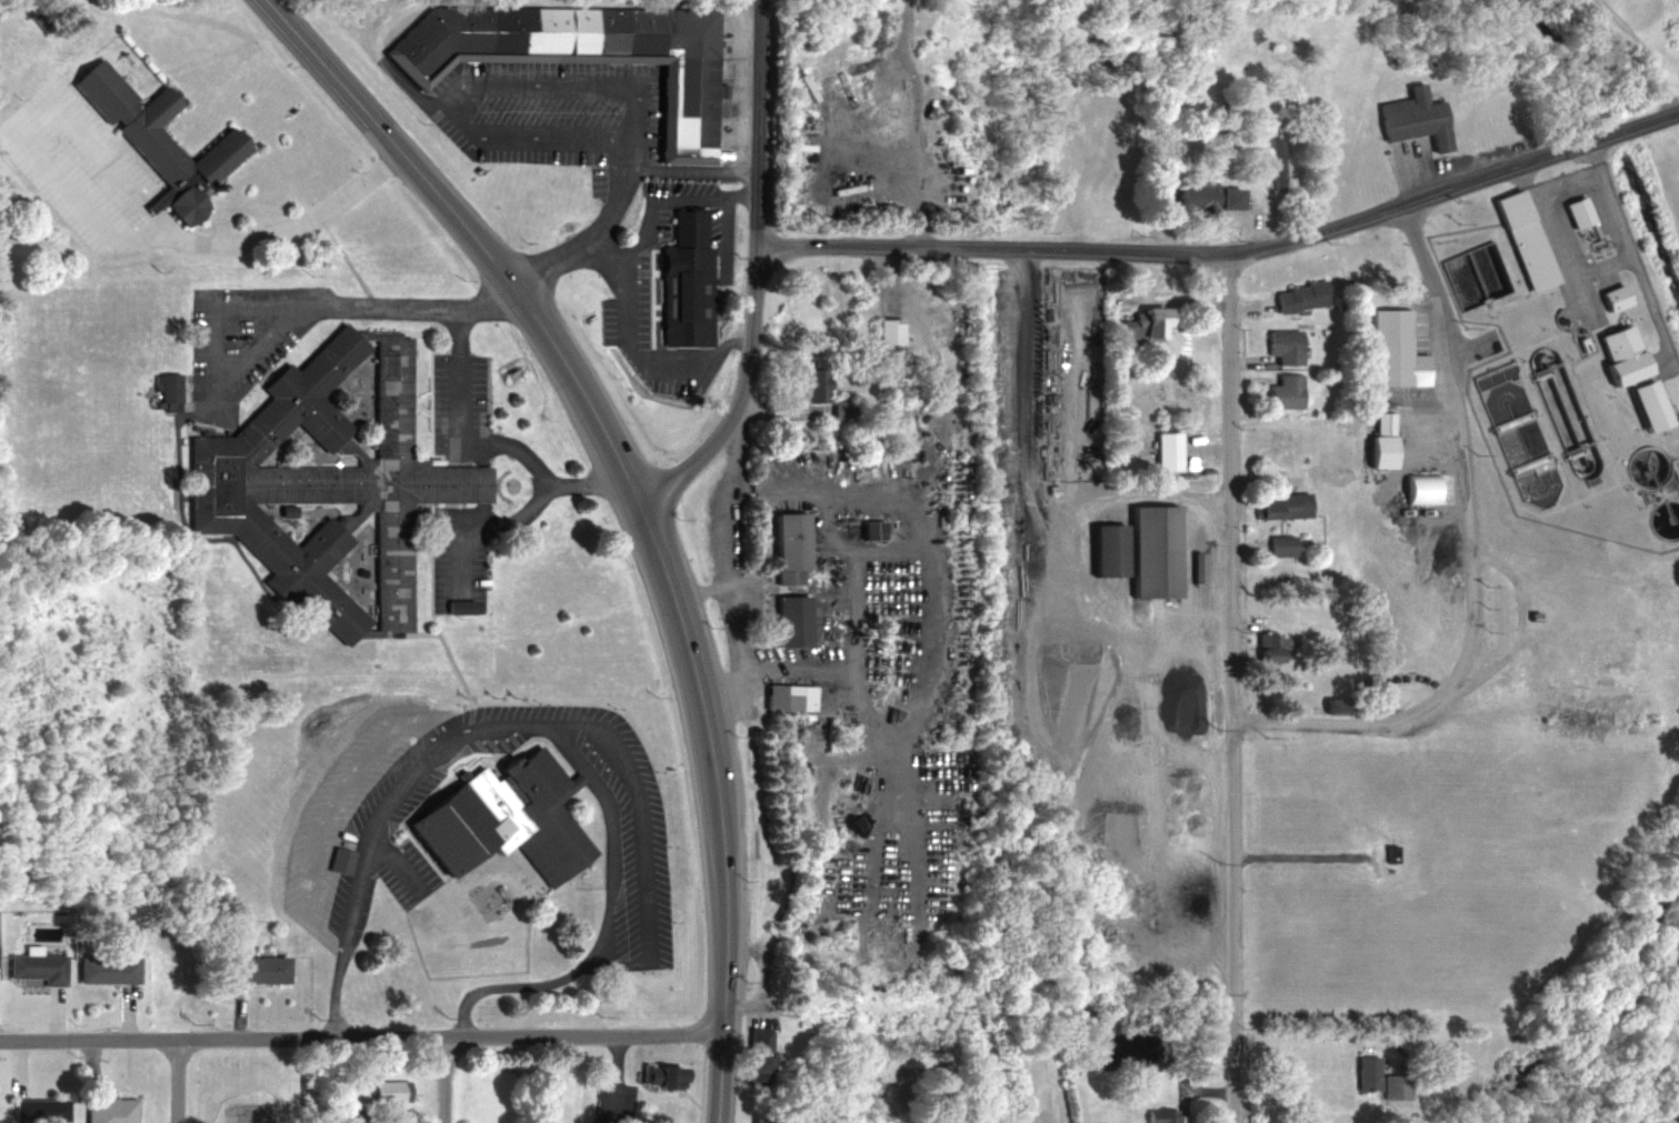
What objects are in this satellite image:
building: (583, 56)
road: (472, 84)
building: (1412, 118)
building: (154, 138)
road: (401, 154)
building: (1277, 164)
road: (693, 171)
building: (1207, 197)
road: (657, 210)
building: (1575, 211)
road: (281, 218)
road: (591, 234)
building: (680, 239)
building: (1523, 240)
road: (1229, 254)
road: (753, 274)
building: (1296, 297)
building: (1611, 297)
building: (671, 307)
road: (312, 308)
building: (1139, 327)
building: (887, 337)
building: (1282, 347)
building: (1391, 350)
building: (703, 353)
building: (1620, 353)
wastewater plant: (1519, 355)
road: (646, 363)
building: (814, 382)
building: (164, 391)
building: (1282, 392)
building: (1647, 404)
road: (589, 408)
road: (481, 442)
building: (1378, 442)
road: (942, 465)
building: (327, 484)
building: (1280, 505)
road: (472, 528)
building: (869, 530)
building: (1279, 545)
building: (787, 549)
building: (1107, 551)
building: (1153, 552)
road: (1471, 558)
road: (724, 575)
road: (699, 591)
building: (788, 621)
road: (680, 624)
road: (436, 630)
building: (1267, 646)
road: (1230, 689)
building: (784, 698)
building: (1329, 704)
road: (589, 728)
building: (499, 820)
road: (397, 862)
road: (723, 935)
building: (33, 966)
building: (102, 967)
building: (252, 969)
road: (1313, 1037)
road: (360, 1039)
building: (752, 1054)
building: (1365, 1073)
building: (658, 1075)
road: (442, 1081)
road: (180, 1082)
building: (1393, 1085)
building: (386, 1092)
building: (107, 1110)
building: (34, 1111)
building: (1161, 1115)

